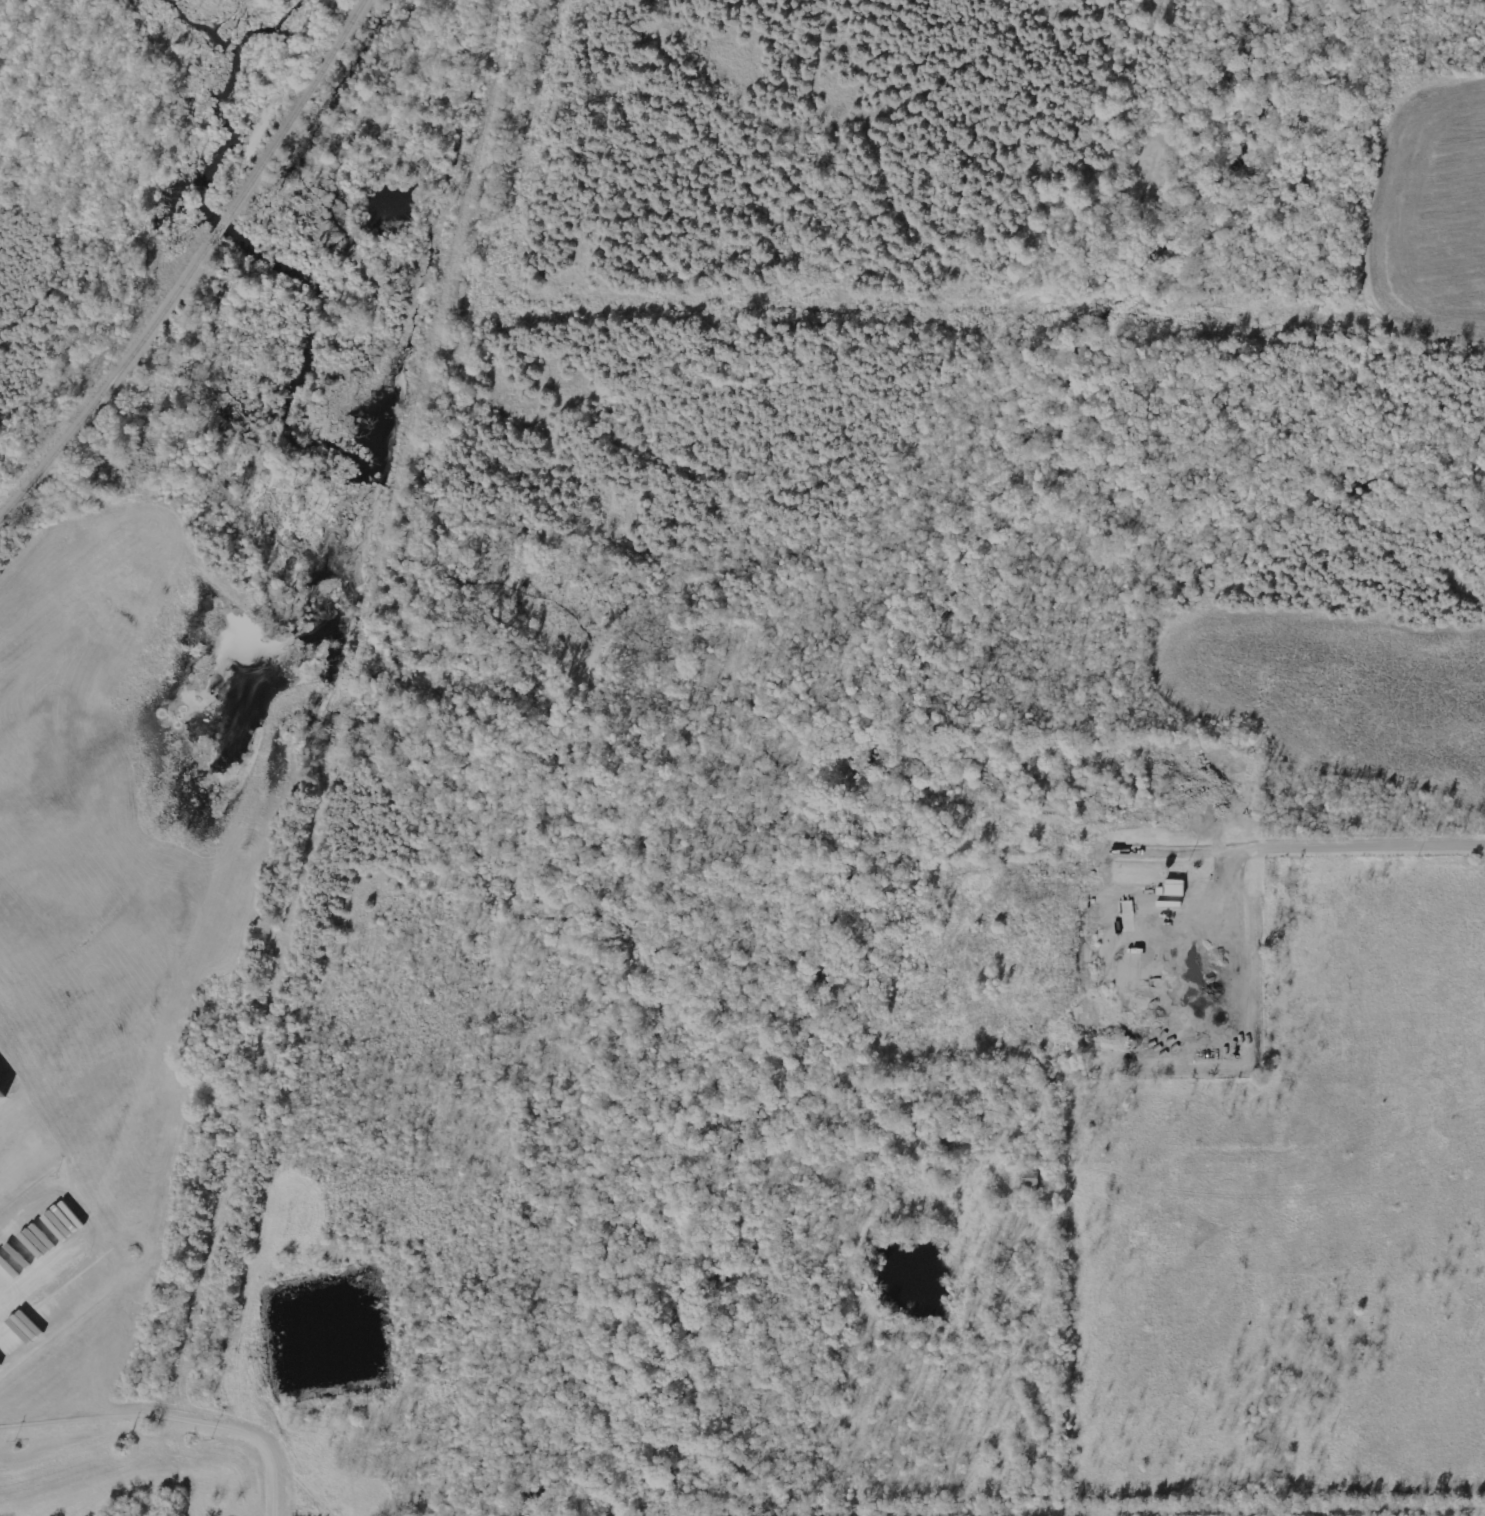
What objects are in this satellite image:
railway: (191, 265)
road: (1360, 850)
building: (1173, 888)
railway: (269, 1053)
building: (3, 1093)
building: (1, 1366)

